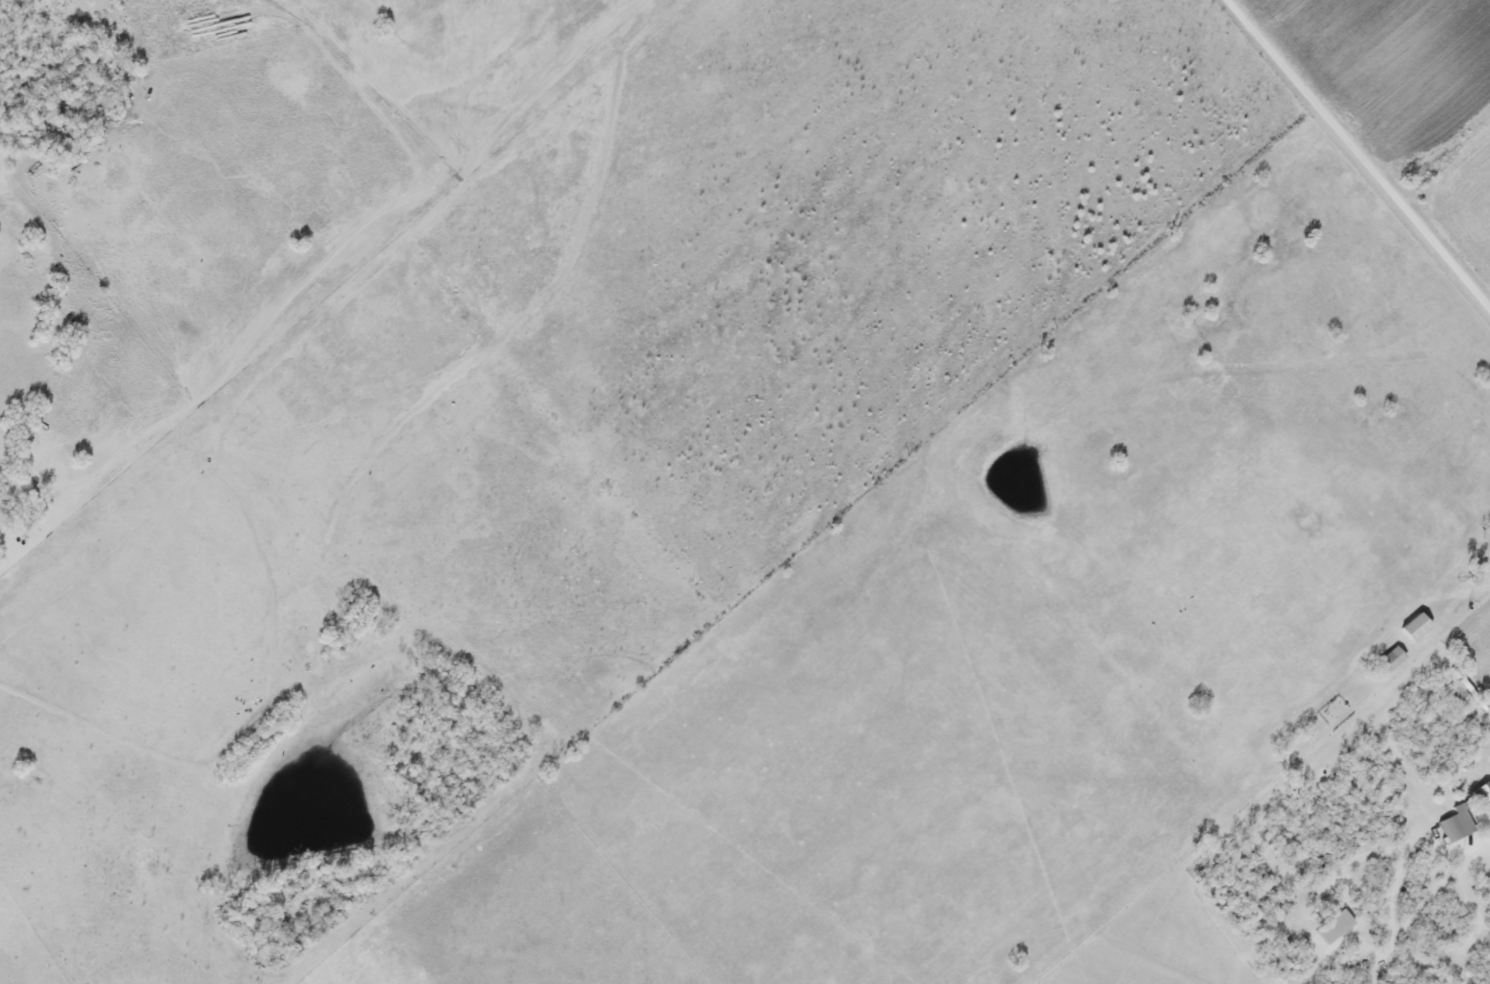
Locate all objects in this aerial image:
road: (1358, 155)
building: (1411, 628)
road: (1489, 838)

